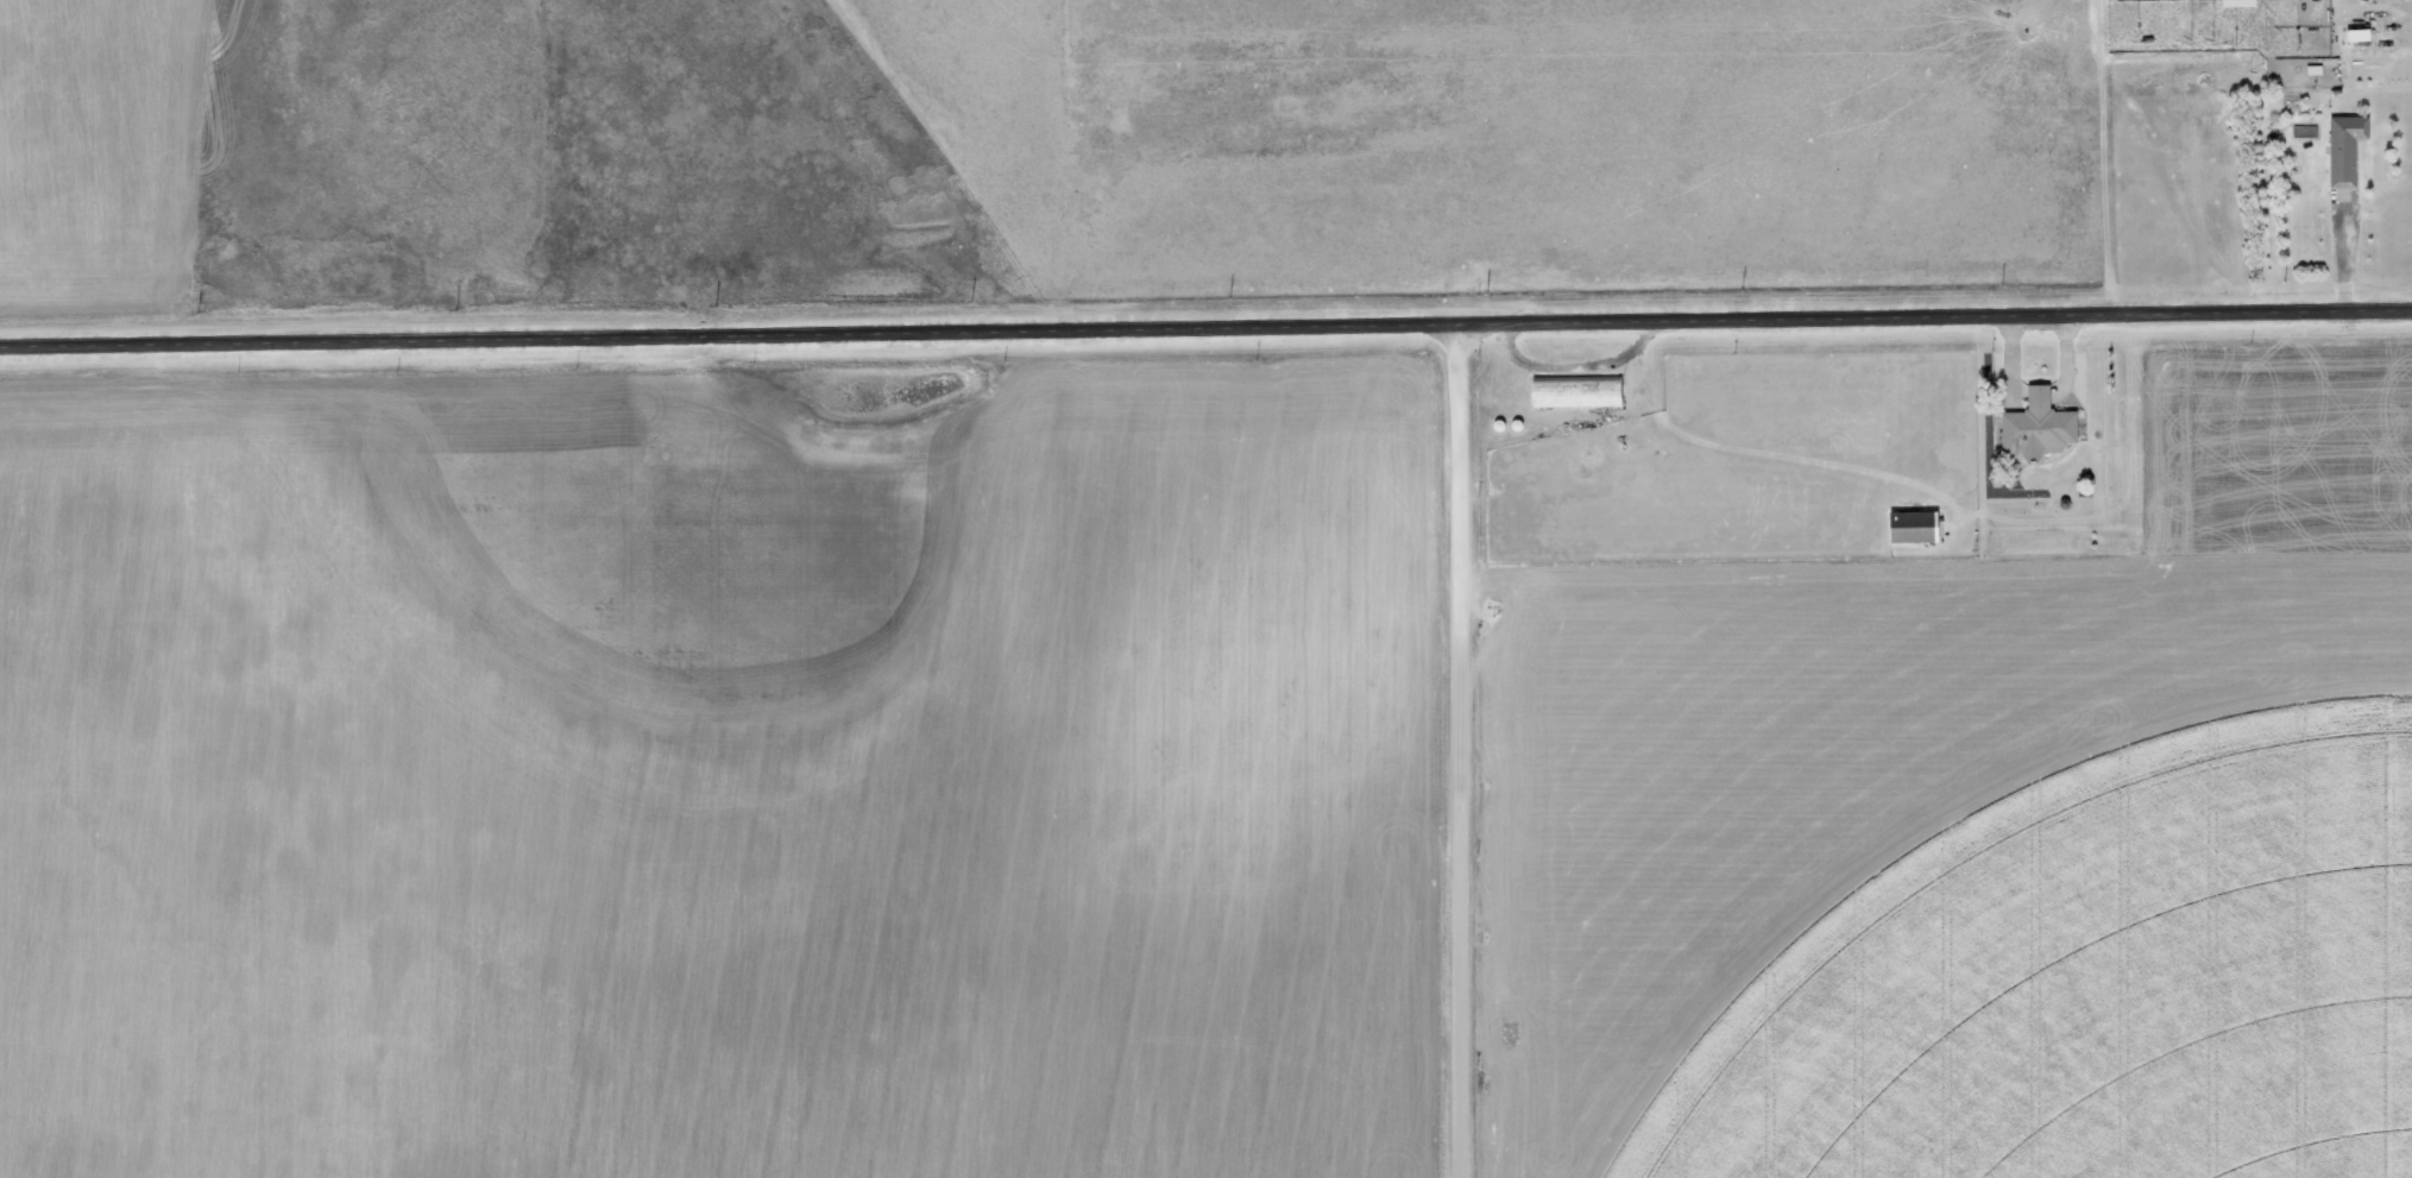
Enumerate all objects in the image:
building: (2361, 34)
building: (2348, 149)
road: (1069, 172)
road: (1205, 340)
building: (1579, 392)
building: (2043, 424)
road: (1460, 756)

